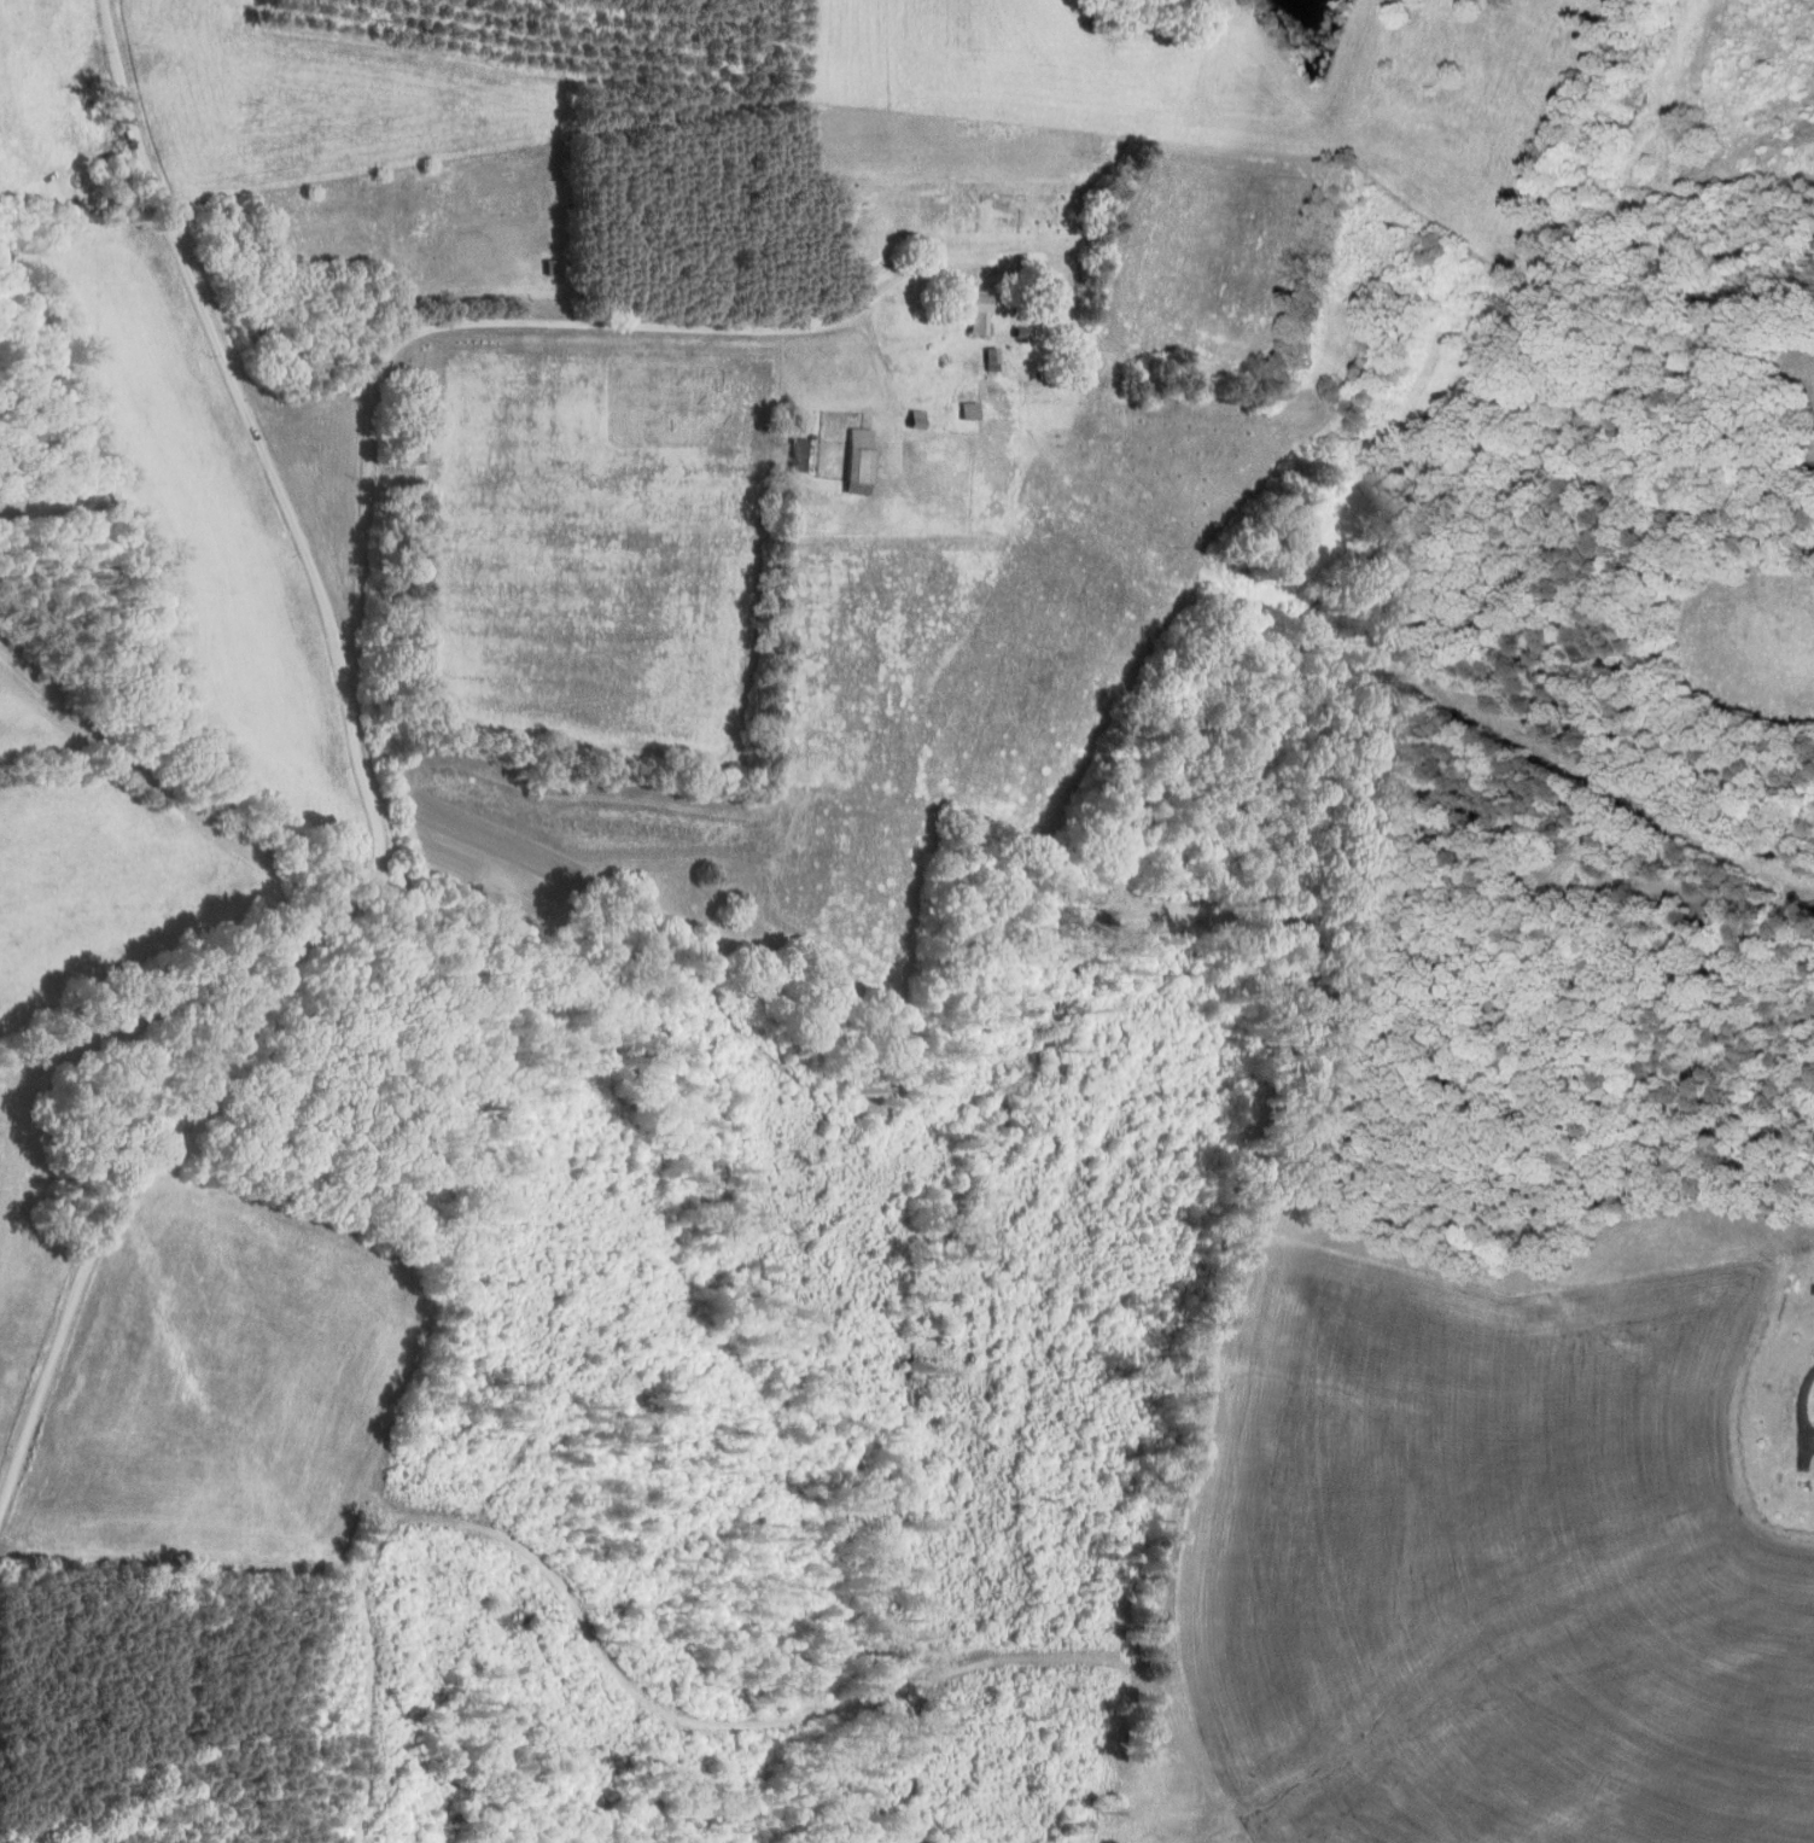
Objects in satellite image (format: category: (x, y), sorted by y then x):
building: (969, 309)
road: (561, 323)
building: (988, 357)
building: (967, 409)
building: (795, 451)
building: (856, 460)
road: (164, 783)
road: (380, 807)

